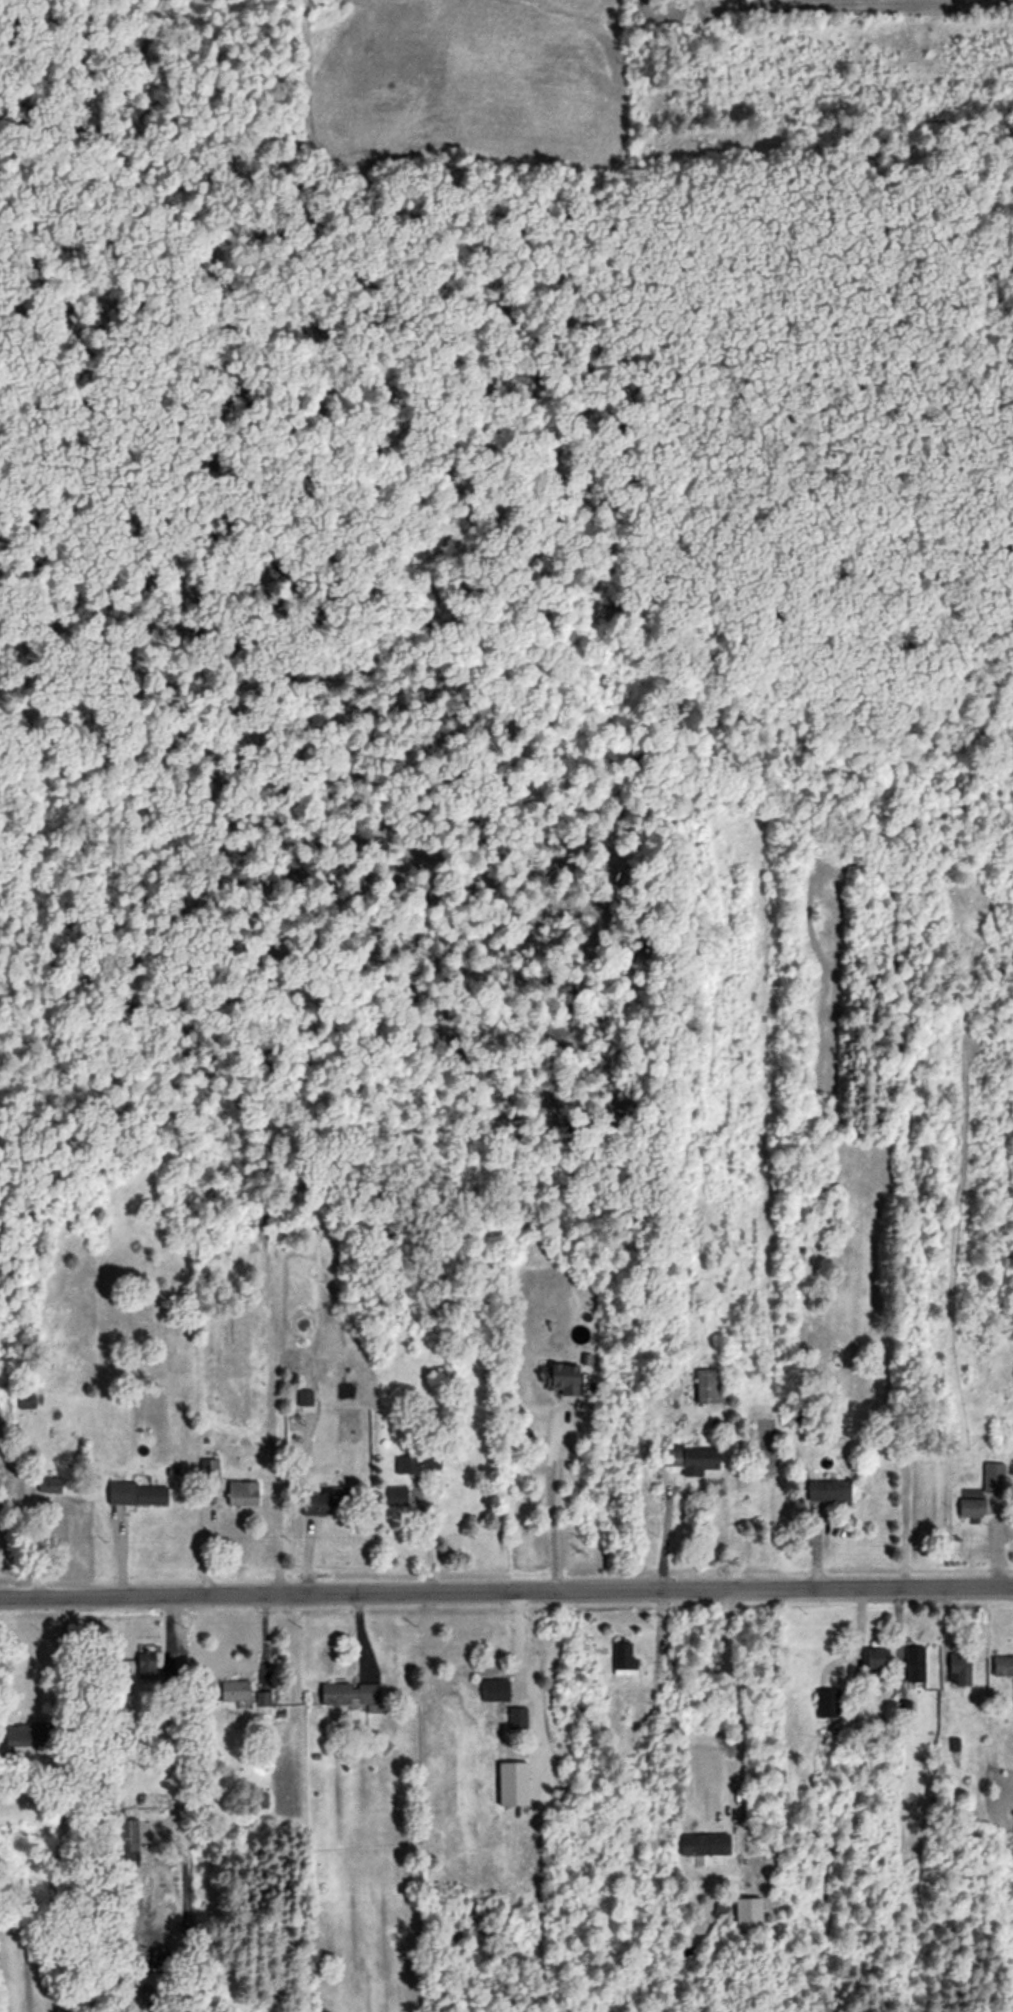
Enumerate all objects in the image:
building: (558, 1378)
building: (709, 1387)
building: (693, 1460)
building: (994, 1478)
building: (392, 1492)
building: (828, 1492)
building: (138, 1493)
building: (971, 1508)
road: (551, 1511)
road: (506, 1589)
road: (519, 1645)
road: (61, 1659)
building: (623, 1660)
building: (875, 1660)
building: (914, 1665)
building: (1003, 1667)
building: (960, 1669)
road: (734, 1695)
building: (828, 1704)
building: (516, 1718)
road: (180, 1723)
building: (512, 1784)
building: (704, 1845)

